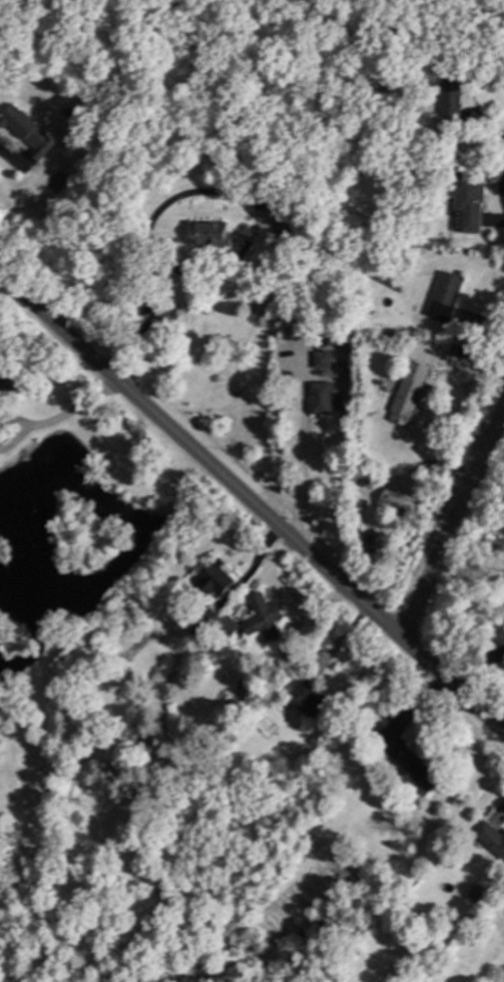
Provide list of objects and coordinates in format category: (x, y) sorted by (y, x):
building: (379, 11)
building: (453, 93)
building: (28, 130)
road: (8, 158)
road: (192, 193)
building: (469, 200)
building: (286, 218)
building: (211, 233)
building: (374, 233)
building: (447, 295)
building: (332, 339)
building: (318, 343)
building: (324, 359)
building: (342, 367)
building: (3, 379)
building: (384, 382)
building: (411, 393)
building: (1, 397)
building: (323, 398)
road: (64, 414)
road: (300, 443)
building: (370, 482)
road: (251, 504)
building: (393, 504)
road: (453, 520)
building: (370, 534)
building: (216, 578)
building: (209, 614)
building: (265, 616)
building: (503, 620)
building: (203, 626)
building: (230, 627)
building: (310, 698)
building: (379, 754)
building: (418, 770)
building: (277, 781)
building: (491, 837)
building: (447, 855)
building: (441, 861)
building: (477, 891)
building: (262, 971)

